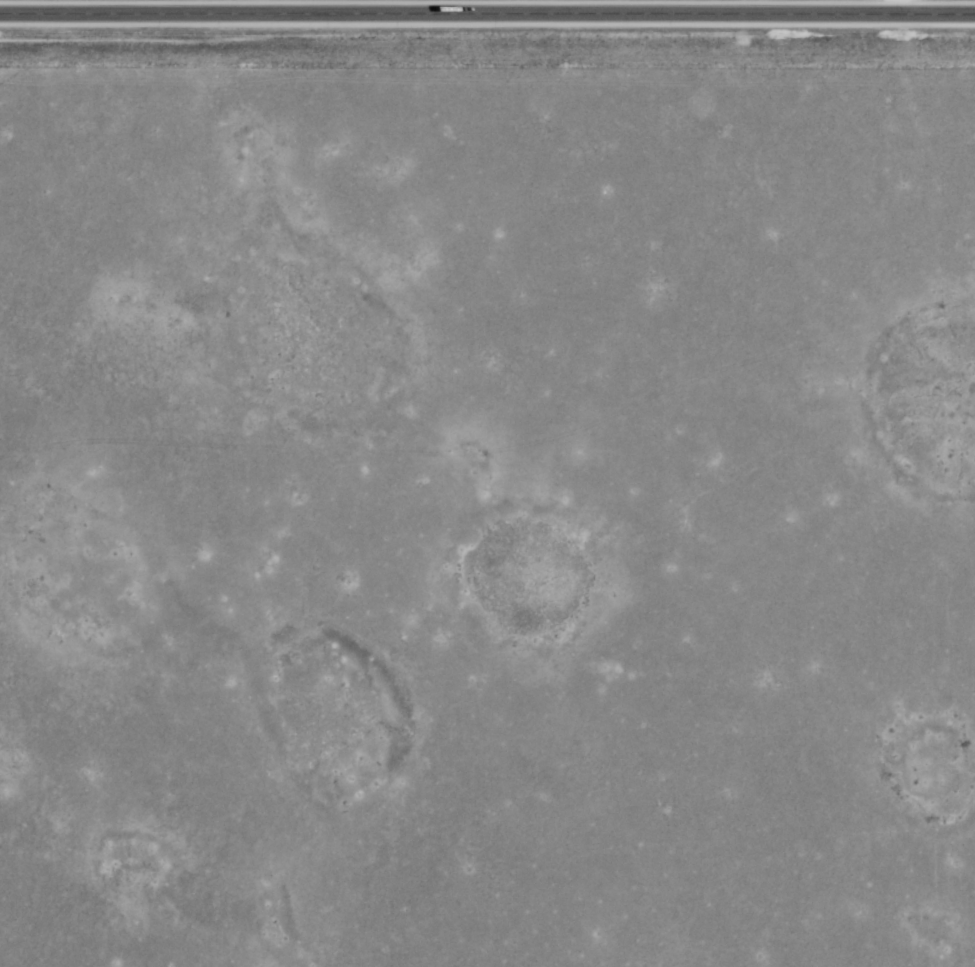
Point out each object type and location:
road: (903, 8)
road: (487, 16)

